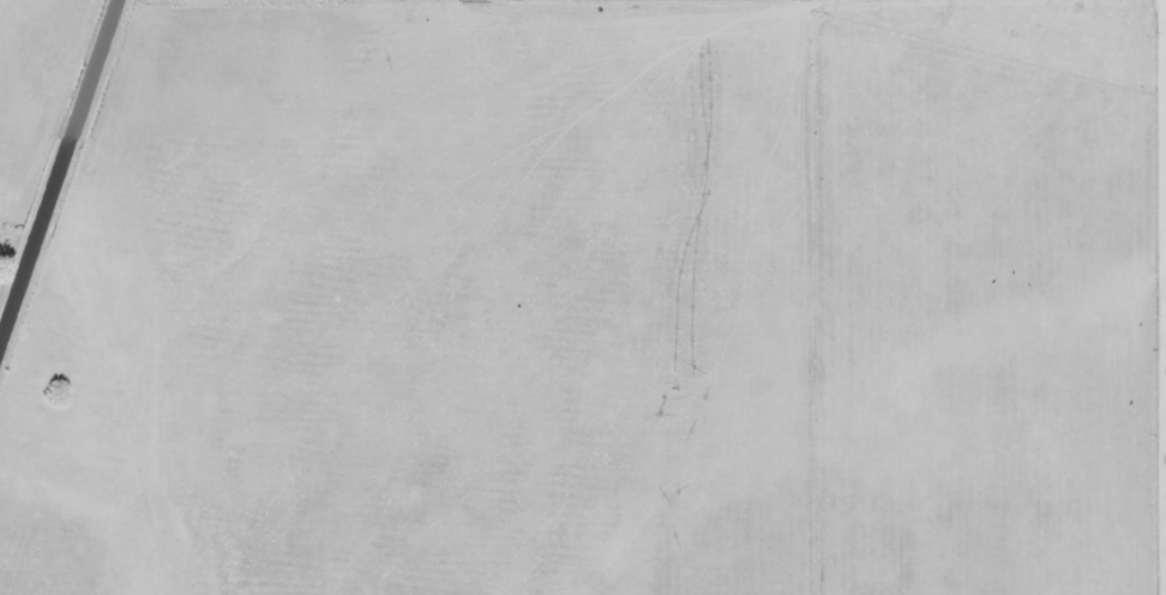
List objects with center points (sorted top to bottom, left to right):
road: (59, 178)

